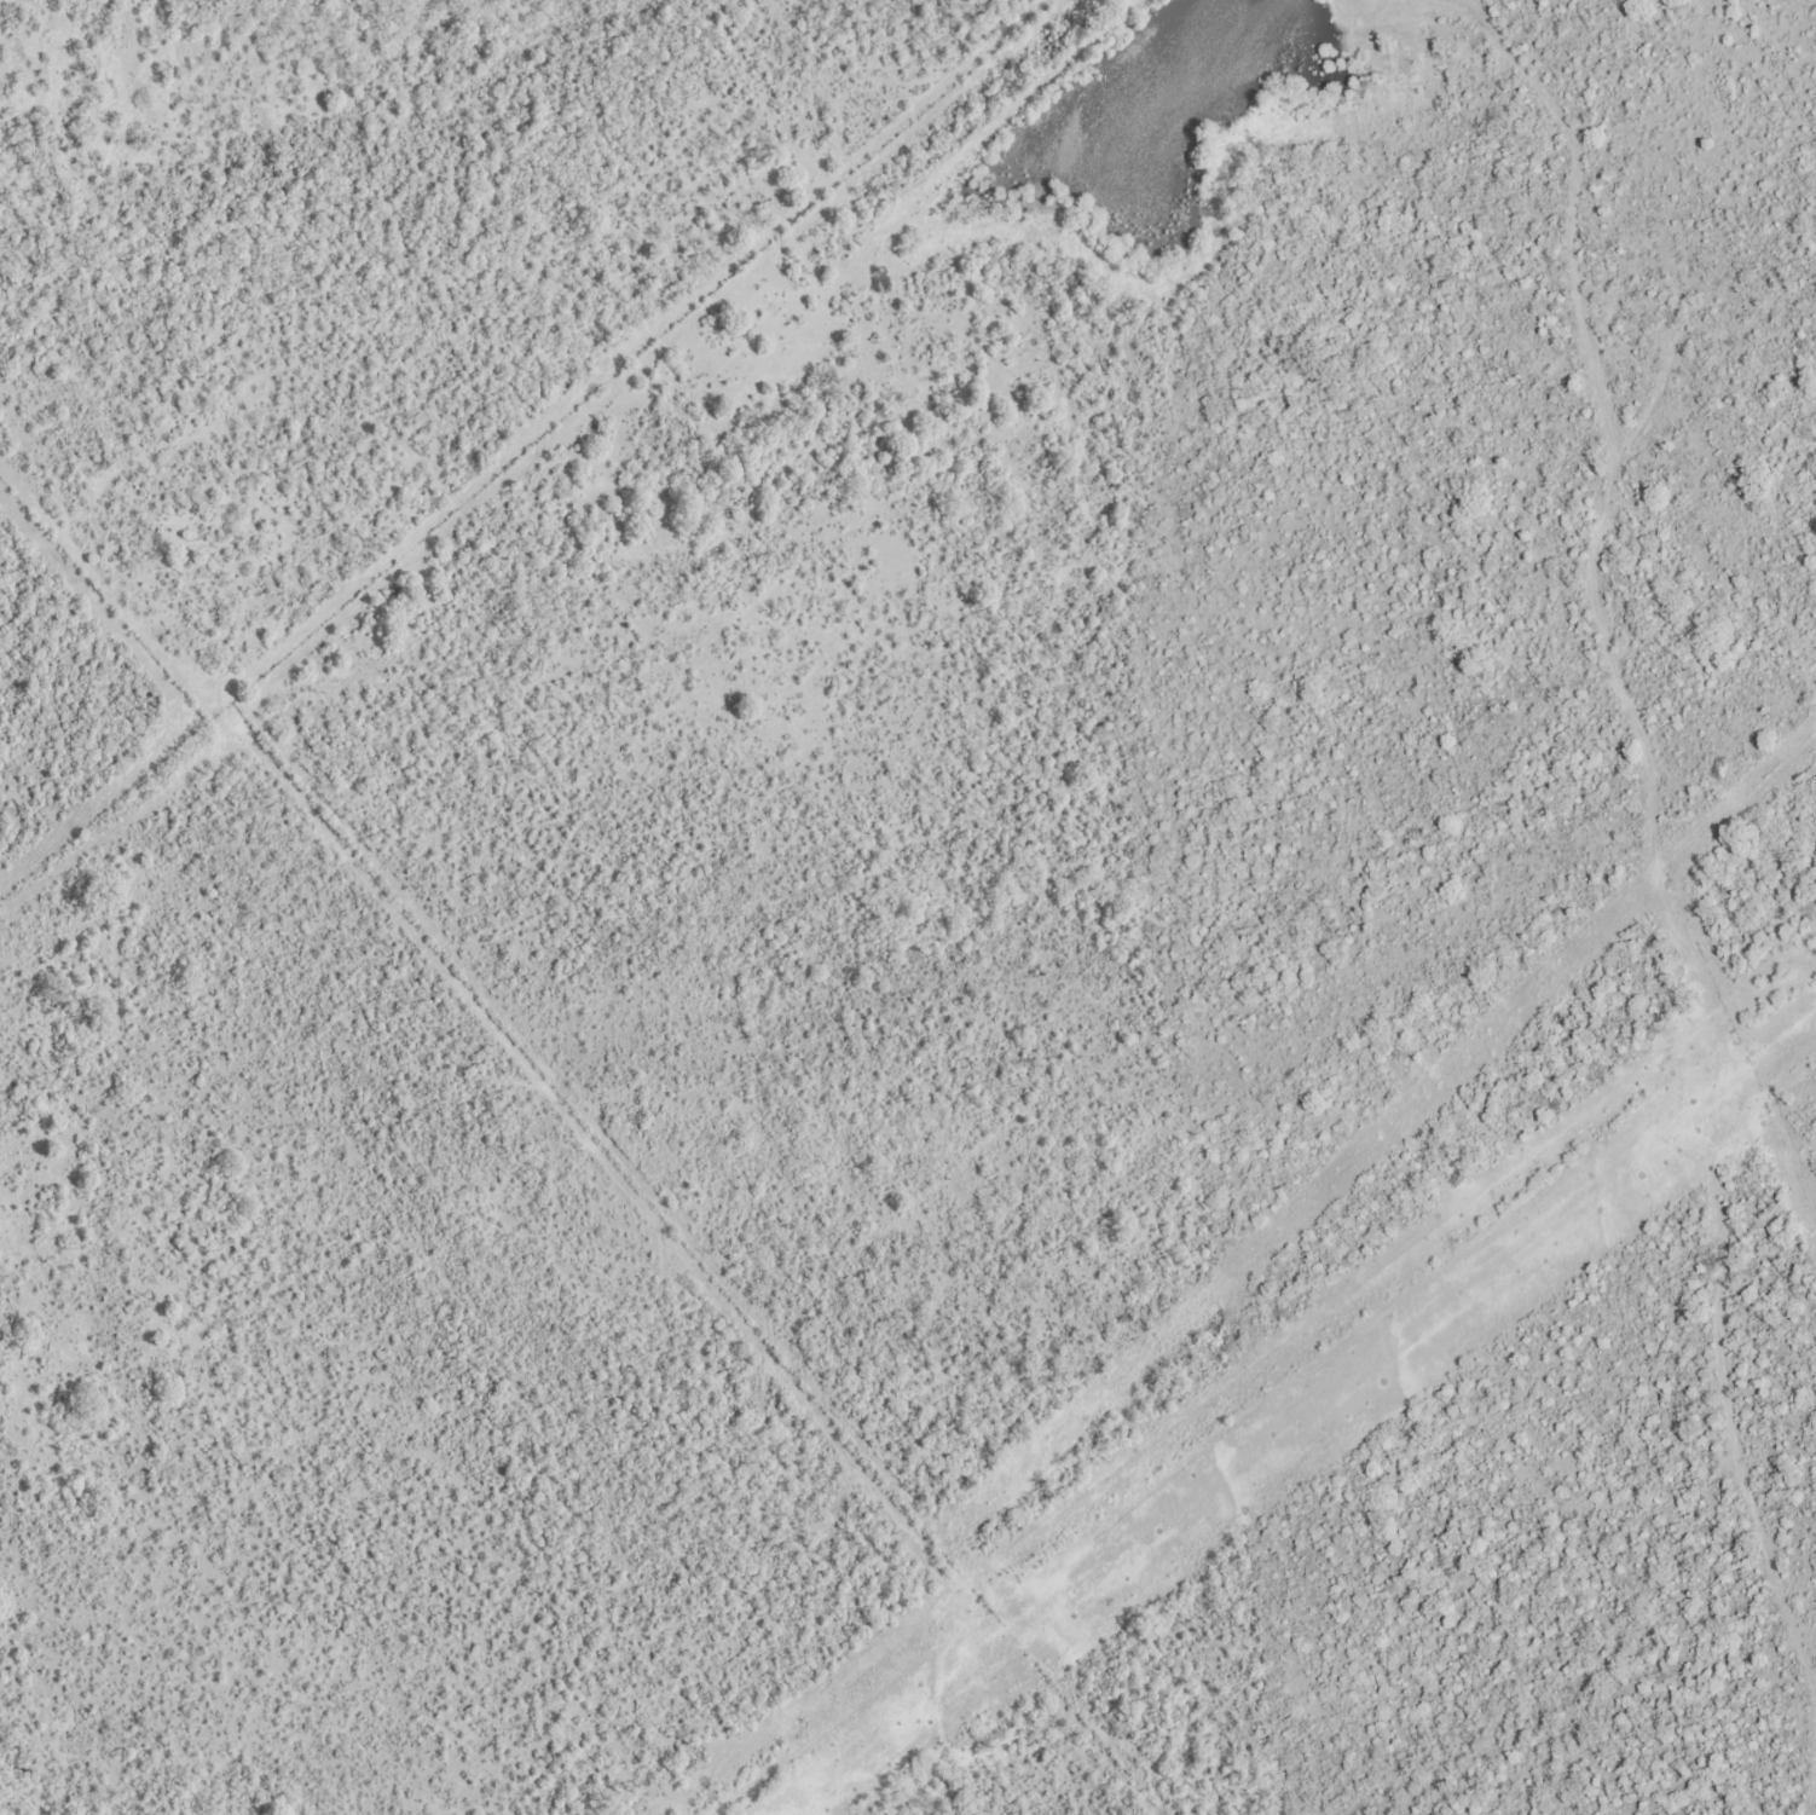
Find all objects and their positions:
road: (1647, 513)
road: (1724, 1377)

